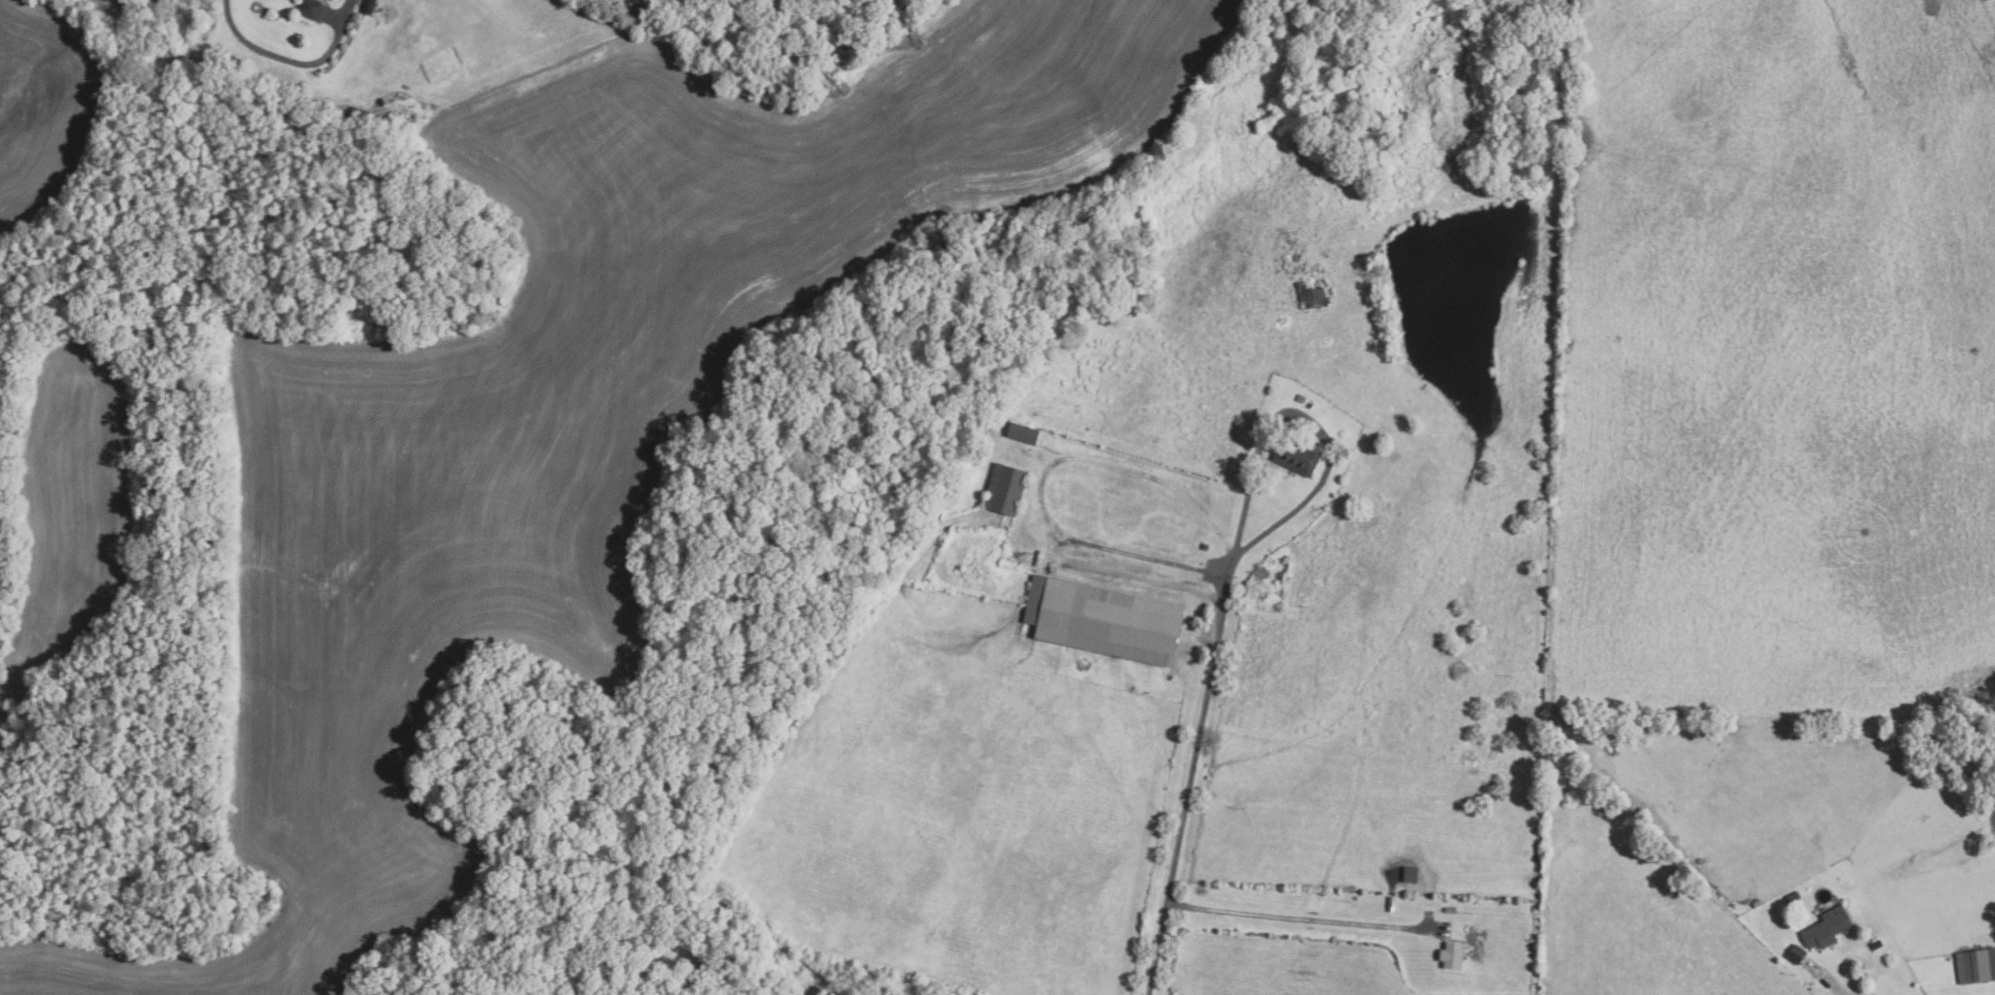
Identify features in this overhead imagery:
building: (310, 9)
road: (288, 59)
crop: (45, 99)
building: (1313, 294)
building: (1301, 398)
building: (1311, 405)
road: (1307, 418)
crop: (578, 419)
building: (1024, 433)
building: (1297, 458)
road: (1044, 480)
building: (1006, 489)
crop: (70, 499)
building: (1205, 547)
building: (1105, 618)
road: (1190, 774)
building: (1793, 896)
building: (1747, 907)
building: (1449, 910)
road: (1302, 918)
building: (1827, 927)
building: (1877, 943)
building: (1797, 953)
building: (1453, 955)
building: (1976, 964)
crop: (1284, 966)
road: (1830, 985)

